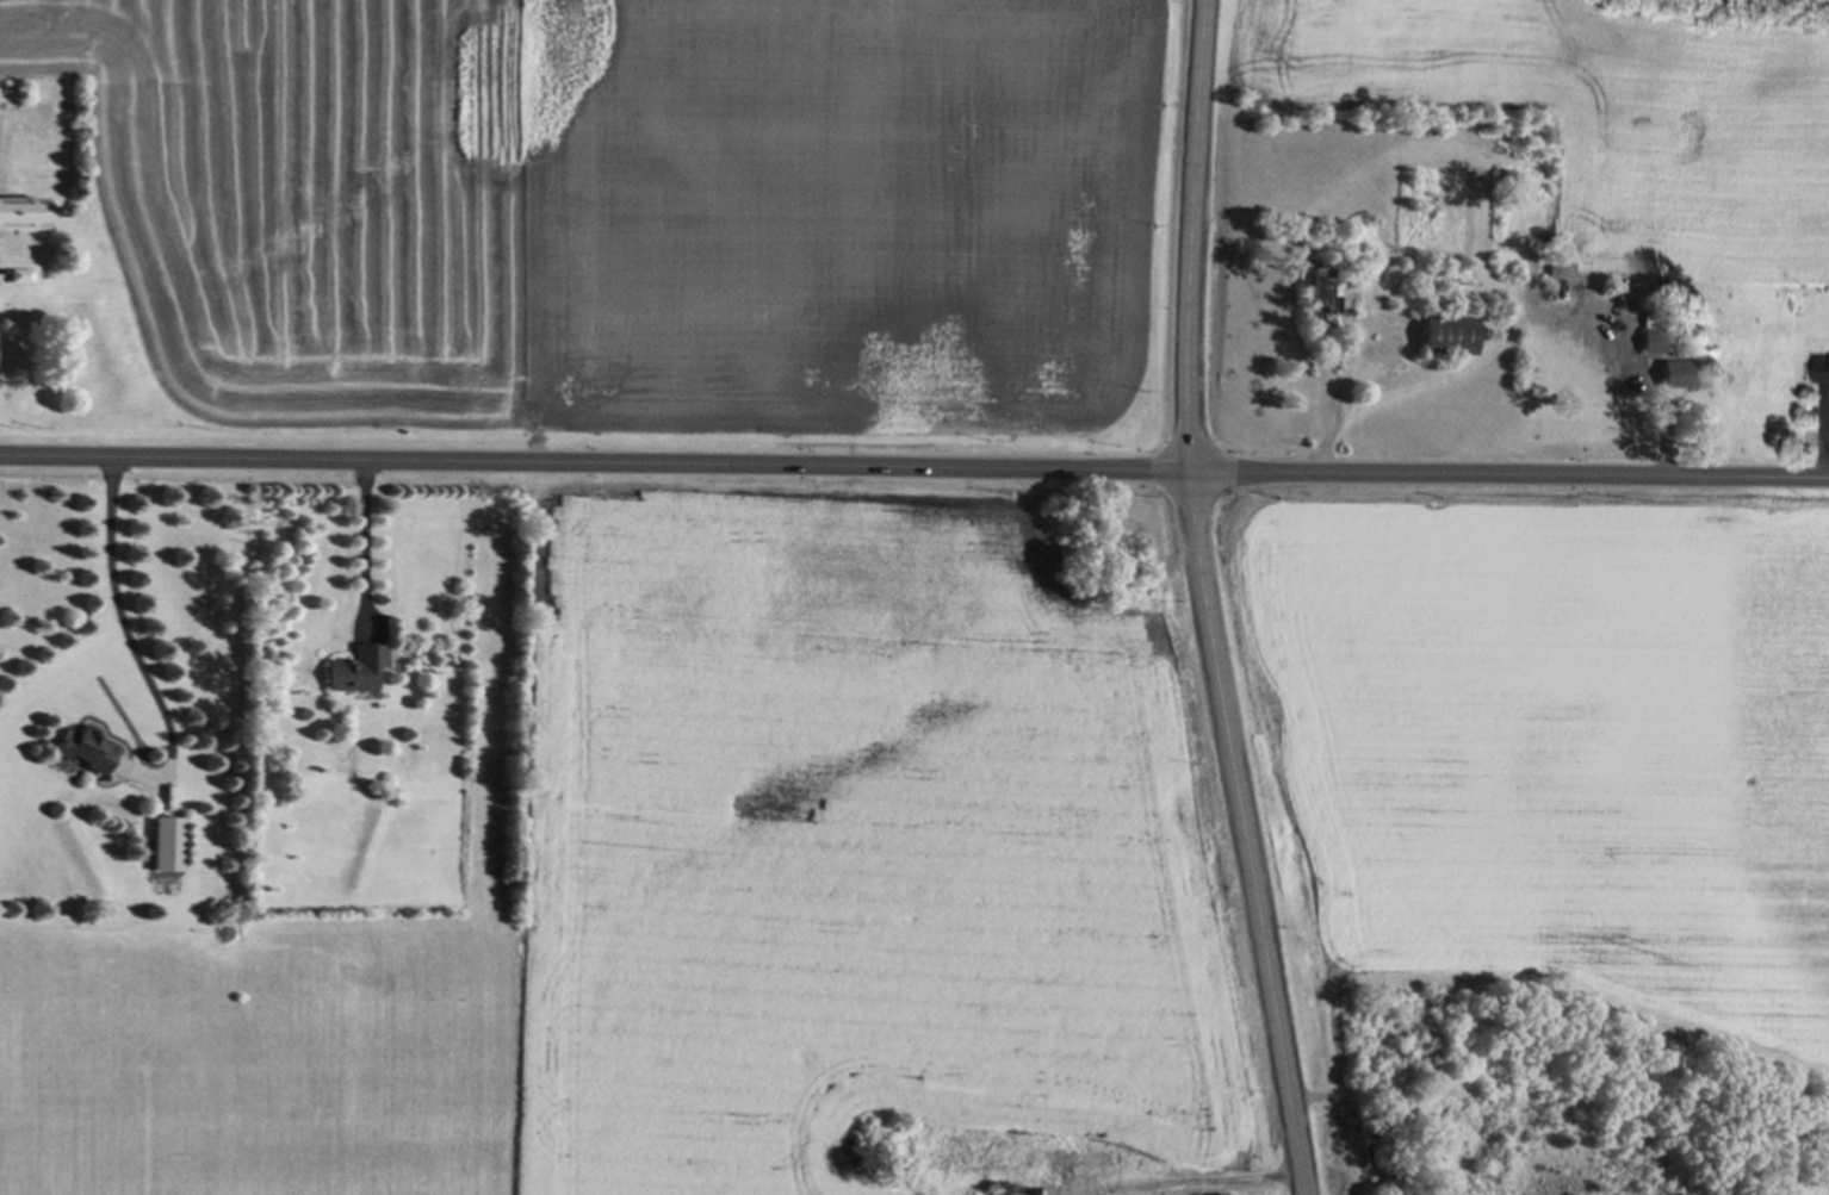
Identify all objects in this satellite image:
crop: (628, 207)
building: (20, 212)
building: (1315, 288)
building: (1445, 334)
building: (1822, 371)
building: (1681, 373)
road: (1657, 407)
road: (913, 467)
road: (365, 541)
road: (1199, 600)
road: (131, 648)
building: (353, 668)
building: (83, 748)
crop: (1554, 748)
building: (163, 844)

